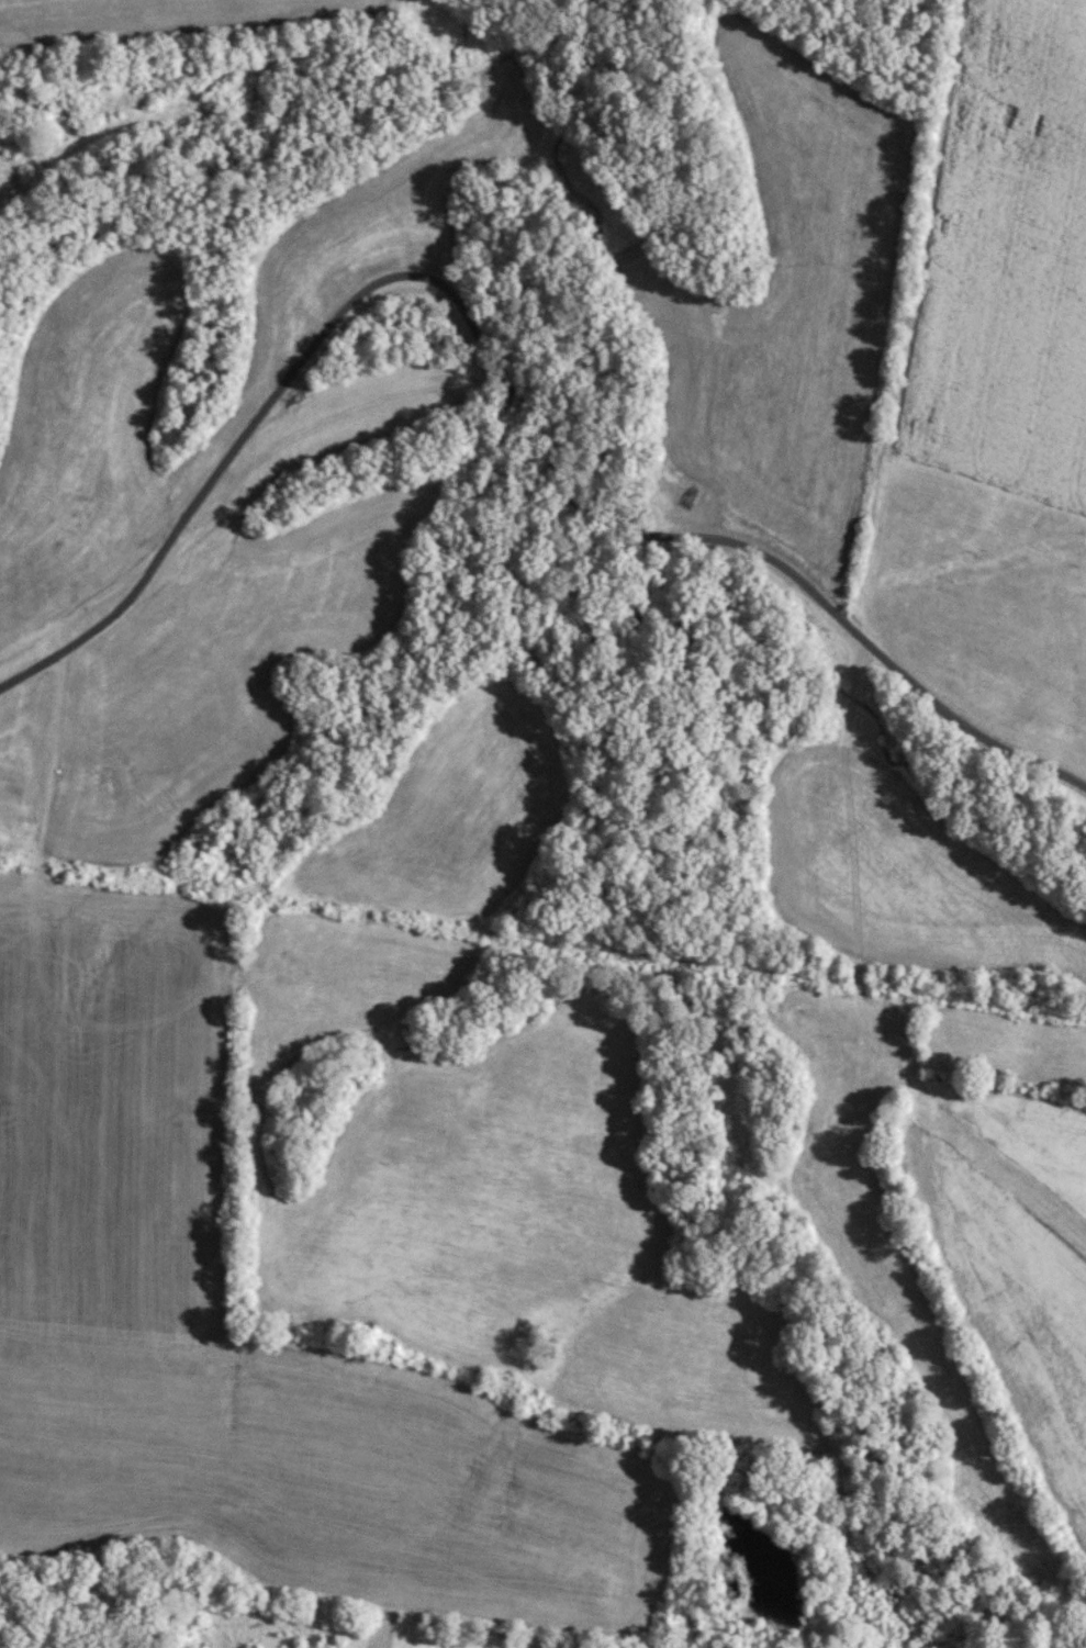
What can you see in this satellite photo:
road: (500, 372)

